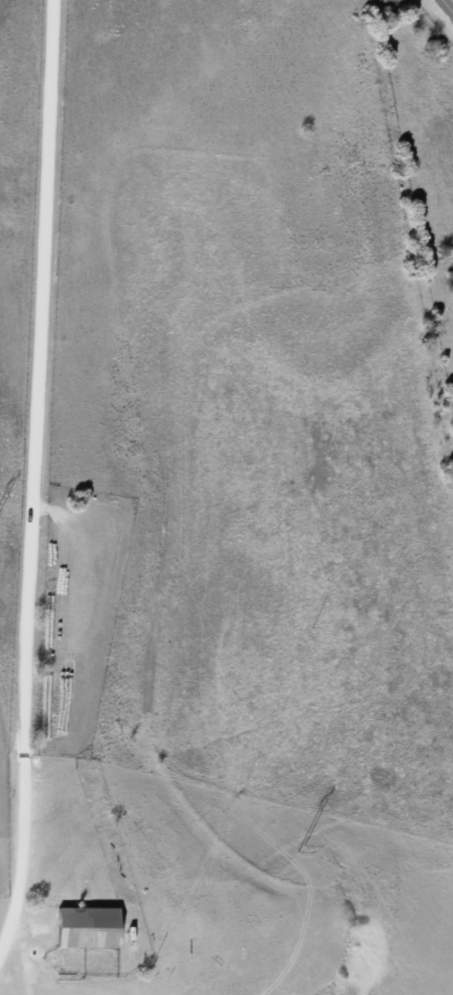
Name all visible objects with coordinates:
road: (61, 497)
power tower: (301, 848)
building: (88, 918)

